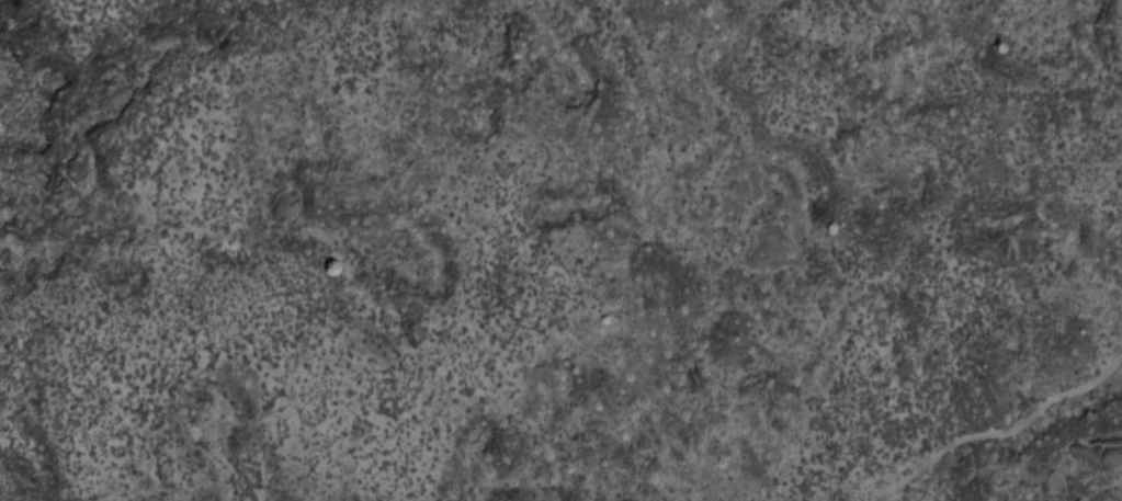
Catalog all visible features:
road: (995, 436)

